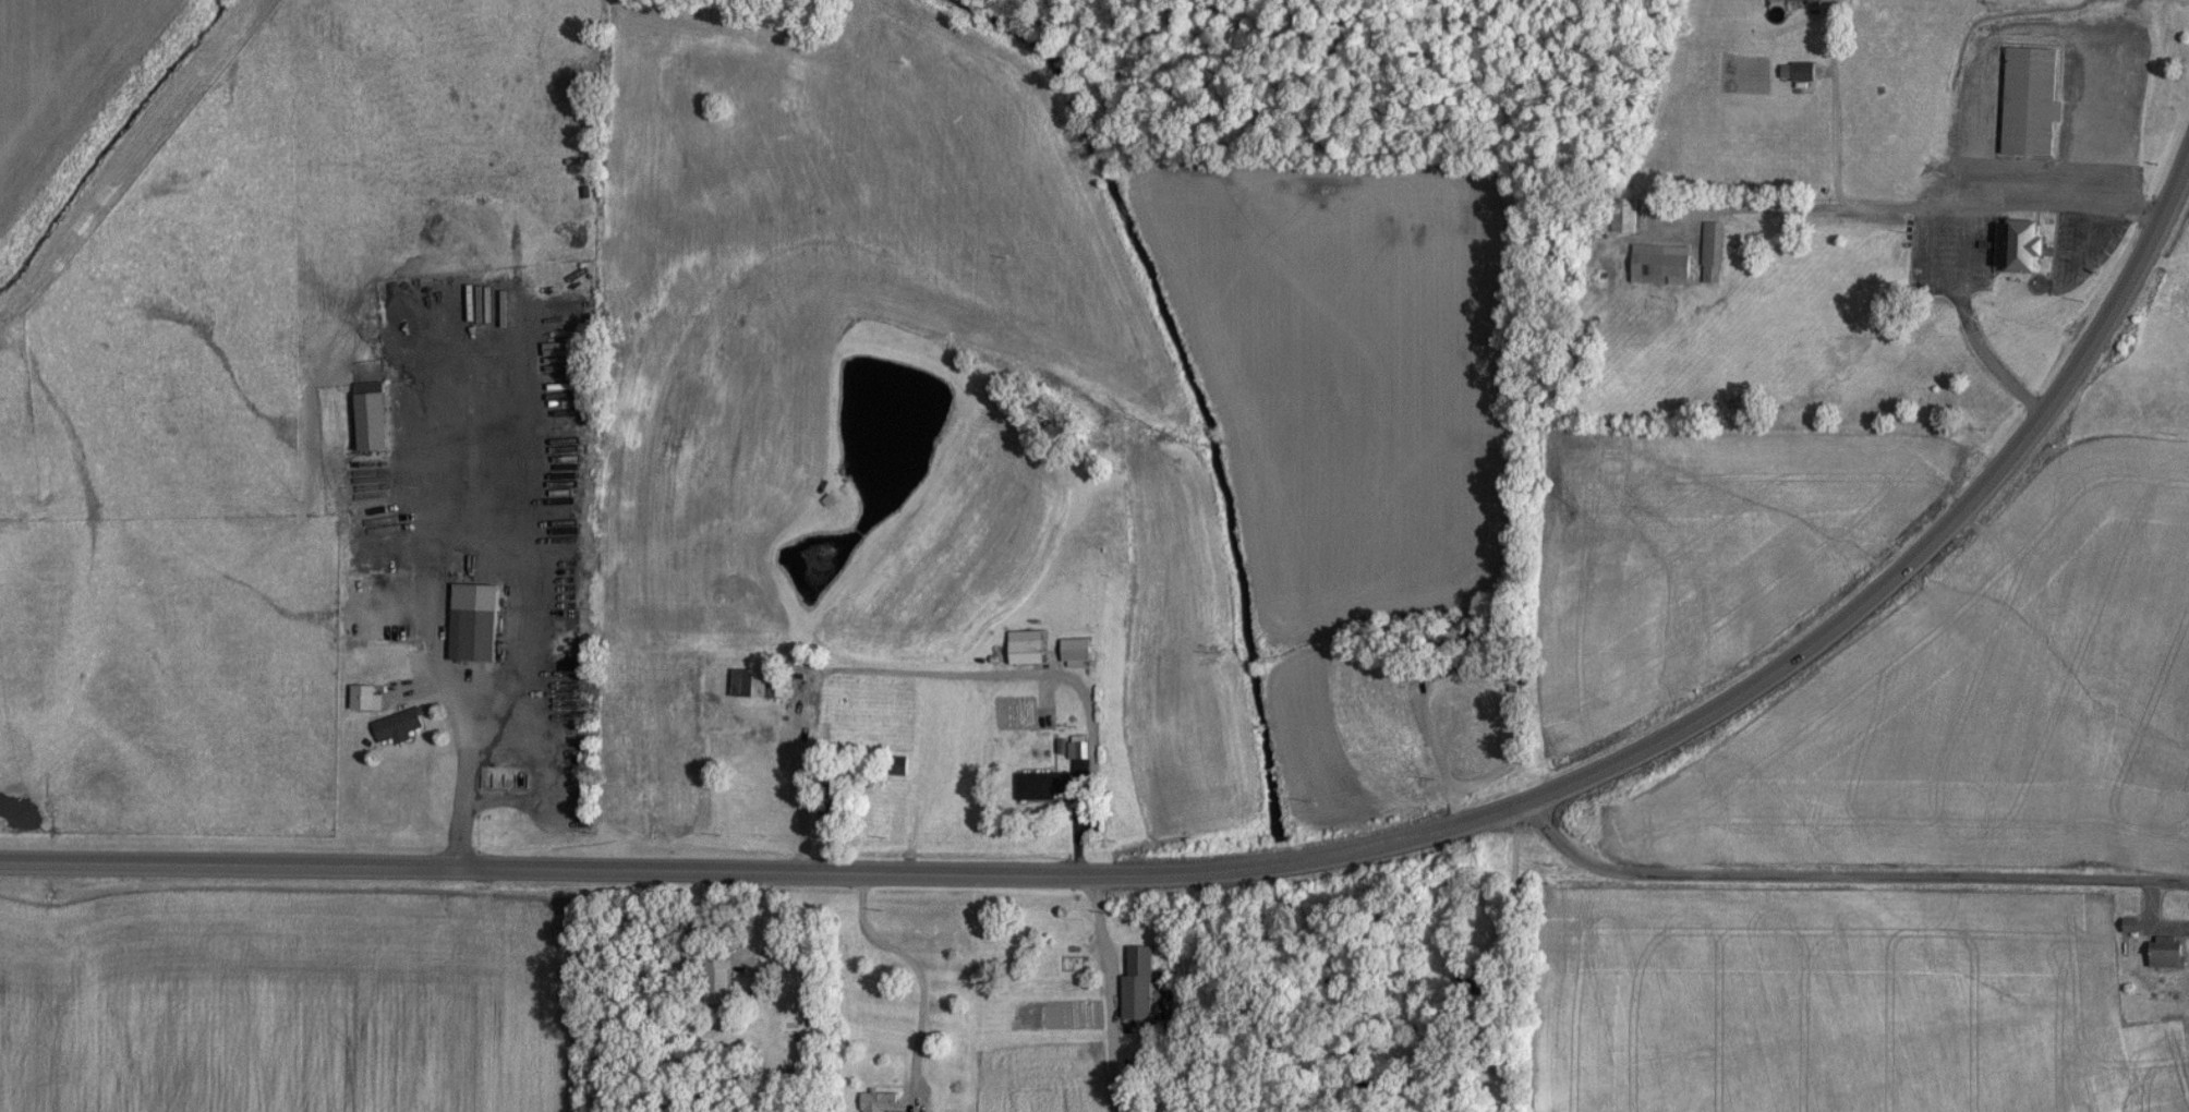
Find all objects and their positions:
building: (1803, 0)
building: (1798, 72)
building: (2031, 101)
road: (1825, 107)
road: (1895, 211)
building: (1625, 216)
building: (2019, 246)
building: (1713, 253)
building: (1661, 265)
road: (1954, 328)
building: (372, 416)
road: (1840, 619)
building: (473, 634)
building: (1026, 648)
building: (1075, 652)
road: (948, 675)
building: (758, 684)
building: (365, 698)
building: (398, 727)
building: (1077, 750)
road: (463, 769)
building: (1043, 786)
building: (830, 812)
road: (642, 866)
road: (1846, 871)
road: (759, 920)
building: (1072, 944)
building: (2168, 952)
road: (918, 972)
building: (716, 975)
building: (1138, 984)
road: (1112, 994)
building: (881, 1102)

